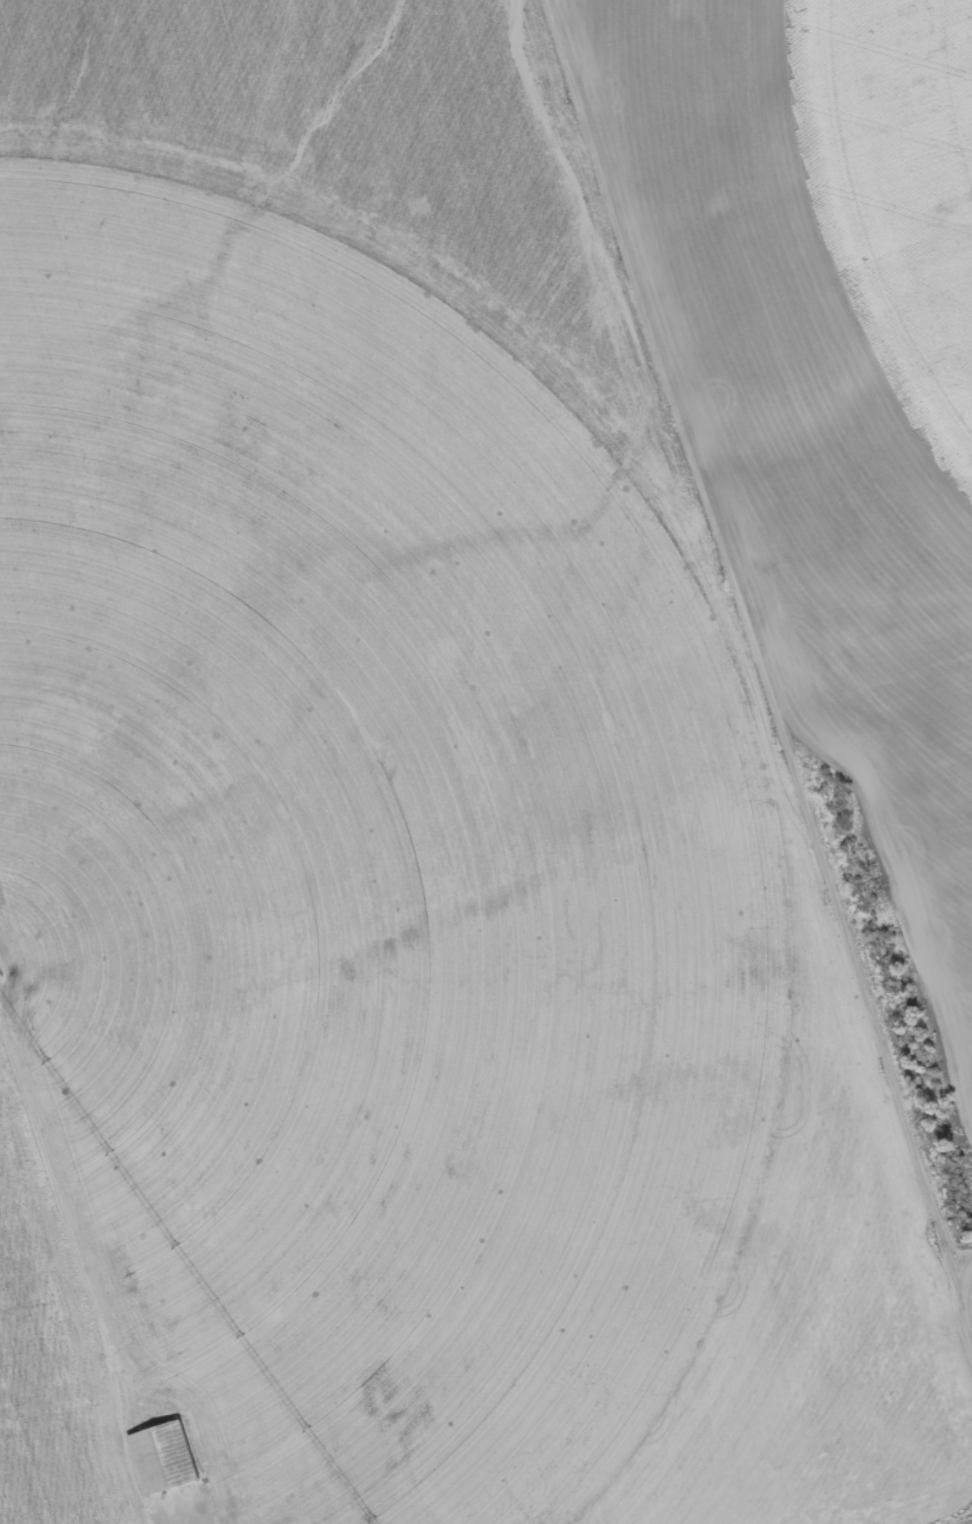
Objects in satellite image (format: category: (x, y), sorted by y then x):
road: (142, 1156)
road: (959, 1308)
building: (167, 1460)

